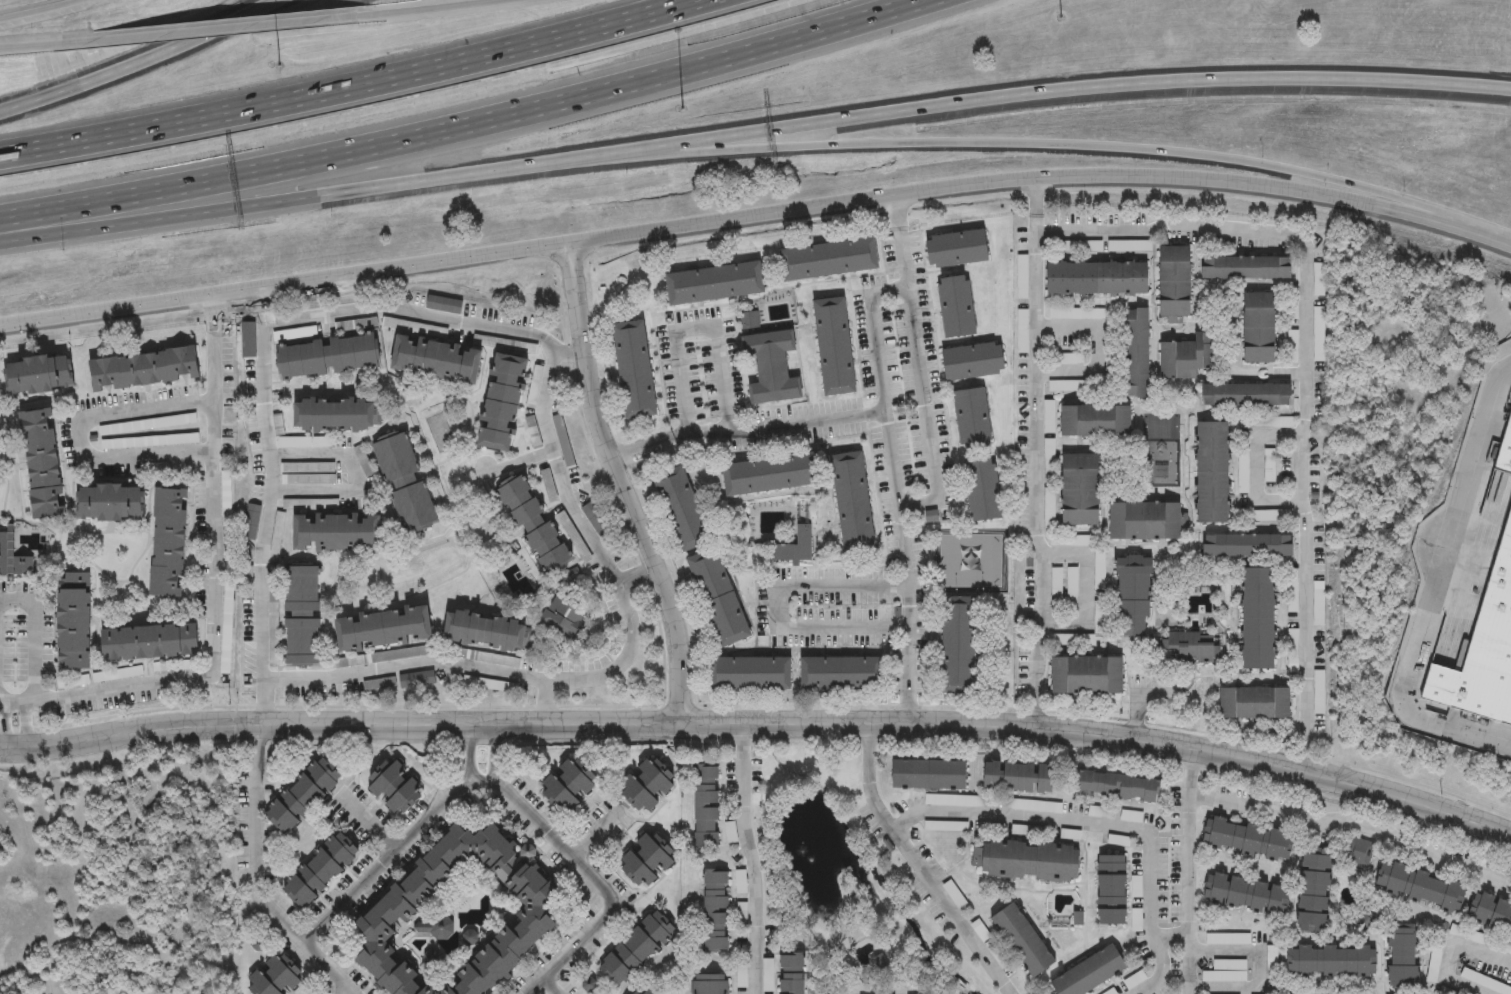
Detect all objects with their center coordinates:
road: (442, 9)
road: (40, 11)
road: (235, 31)
road: (47, 46)
road: (140, 62)
road: (352, 86)
road: (1069, 87)
road: (466, 125)
road: (1041, 146)
road: (315, 195)
road: (757, 217)
building: (956, 251)
building: (828, 262)
building: (1245, 268)
building: (1097, 278)
building: (1317, 279)
building: (1175, 284)
building: (714, 286)
building: (1290, 302)
building: (955, 309)
building: (1259, 327)
road: (695, 331)
building: (1317, 333)
building: (1290, 346)
road: (1096, 348)
building: (834, 349)
road: (567, 350)
building: (1137, 353)
building: (1185, 357)
building: (329, 358)
road: (919, 360)
building: (438, 361)
building: (972, 363)
road: (1308, 367)
building: (770, 369)
building: (142, 370)
building: (633, 371)
building: (38, 376)
building: (1244, 395)
building: (502, 404)
building: (333, 415)
building: (1094, 421)
building: (971, 422)
road: (748, 429)
road: (77, 435)
building: (564, 443)
building: (1506, 448)
road: (1037, 452)
building: (42, 465)
building: (1268, 465)
road: (1255, 468)
road: (215, 472)
building: (1211, 473)
road: (351, 474)
building: (770, 476)
building: (402, 484)
road: (622, 484)
road: (901, 490)
building: (1080, 490)
building: (981, 493)
building: (111, 504)
road: (270, 504)
building: (852, 504)
building: (682, 511)
building: (1143, 521)
building: (535, 525)
building: (339, 534)
road: (591, 543)
building: (166, 544)
building: (1247, 546)
building: (792, 549)
building: (13, 560)
road: (637, 577)
road: (1083, 587)
road: (1430, 589)
building: (1133, 598)
building: (718, 600)
road: (776, 607)
building: (303, 618)
building: (1257, 619)
building: (562, 620)
building: (73, 622)
building: (385, 630)
building: (489, 634)
road: (31, 637)
building: (147, 644)
building: (957, 647)
building: (1483, 647)
building: (1187, 649)
building: (841, 676)
building: (1086, 676)
building: (750, 677)
road: (115, 689)
road: (545, 701)
road: (1140, 704)
building: (1253, 704)
road: (761, 721)
road: (27, 724)
road: (3, 725)
road: (470, 752)
road: (496, 752)
building: (931, 774)
building: (1020, 777)
building: (571, 786)
building: (648, 786)
building: (1118, 786)
building: (397, 788)
building: (304, 795)
building: (708, 806)
road: (1357, 821)
road: (1088, 824)
building: (1247, 839)
road: (395, 848)
building: (1359, 852)
road: (753, 857)
building: (647, 861)
building: (1024, 861)
road: (919, 866)
building: (321, 869)
road: (1191, 870)
road: (261, 876)
building: (1419, 883)
road: (599, 885)
building: (1313, 889)
building: (1110, 891)
building: (1244, 893)
building: (717, 910)
building: (1490, 912)
building: (457, 915)
building: (1025, 940)
building: (638, 949)
road: (1451, 949)
building: (1402, 957)
building: (1000, 958)
building: (1334, 961)
road: (1255, 970)
building: (1226, 972)
building: (1092, 973)
building: (794, 974)
building: (743, 977)
building: (275, 978)
building: (711, 984)
road: (550, 985)
road: (1145, 985)
road: (348, 991)
building: (648, 991)
building: (1111, 992)

